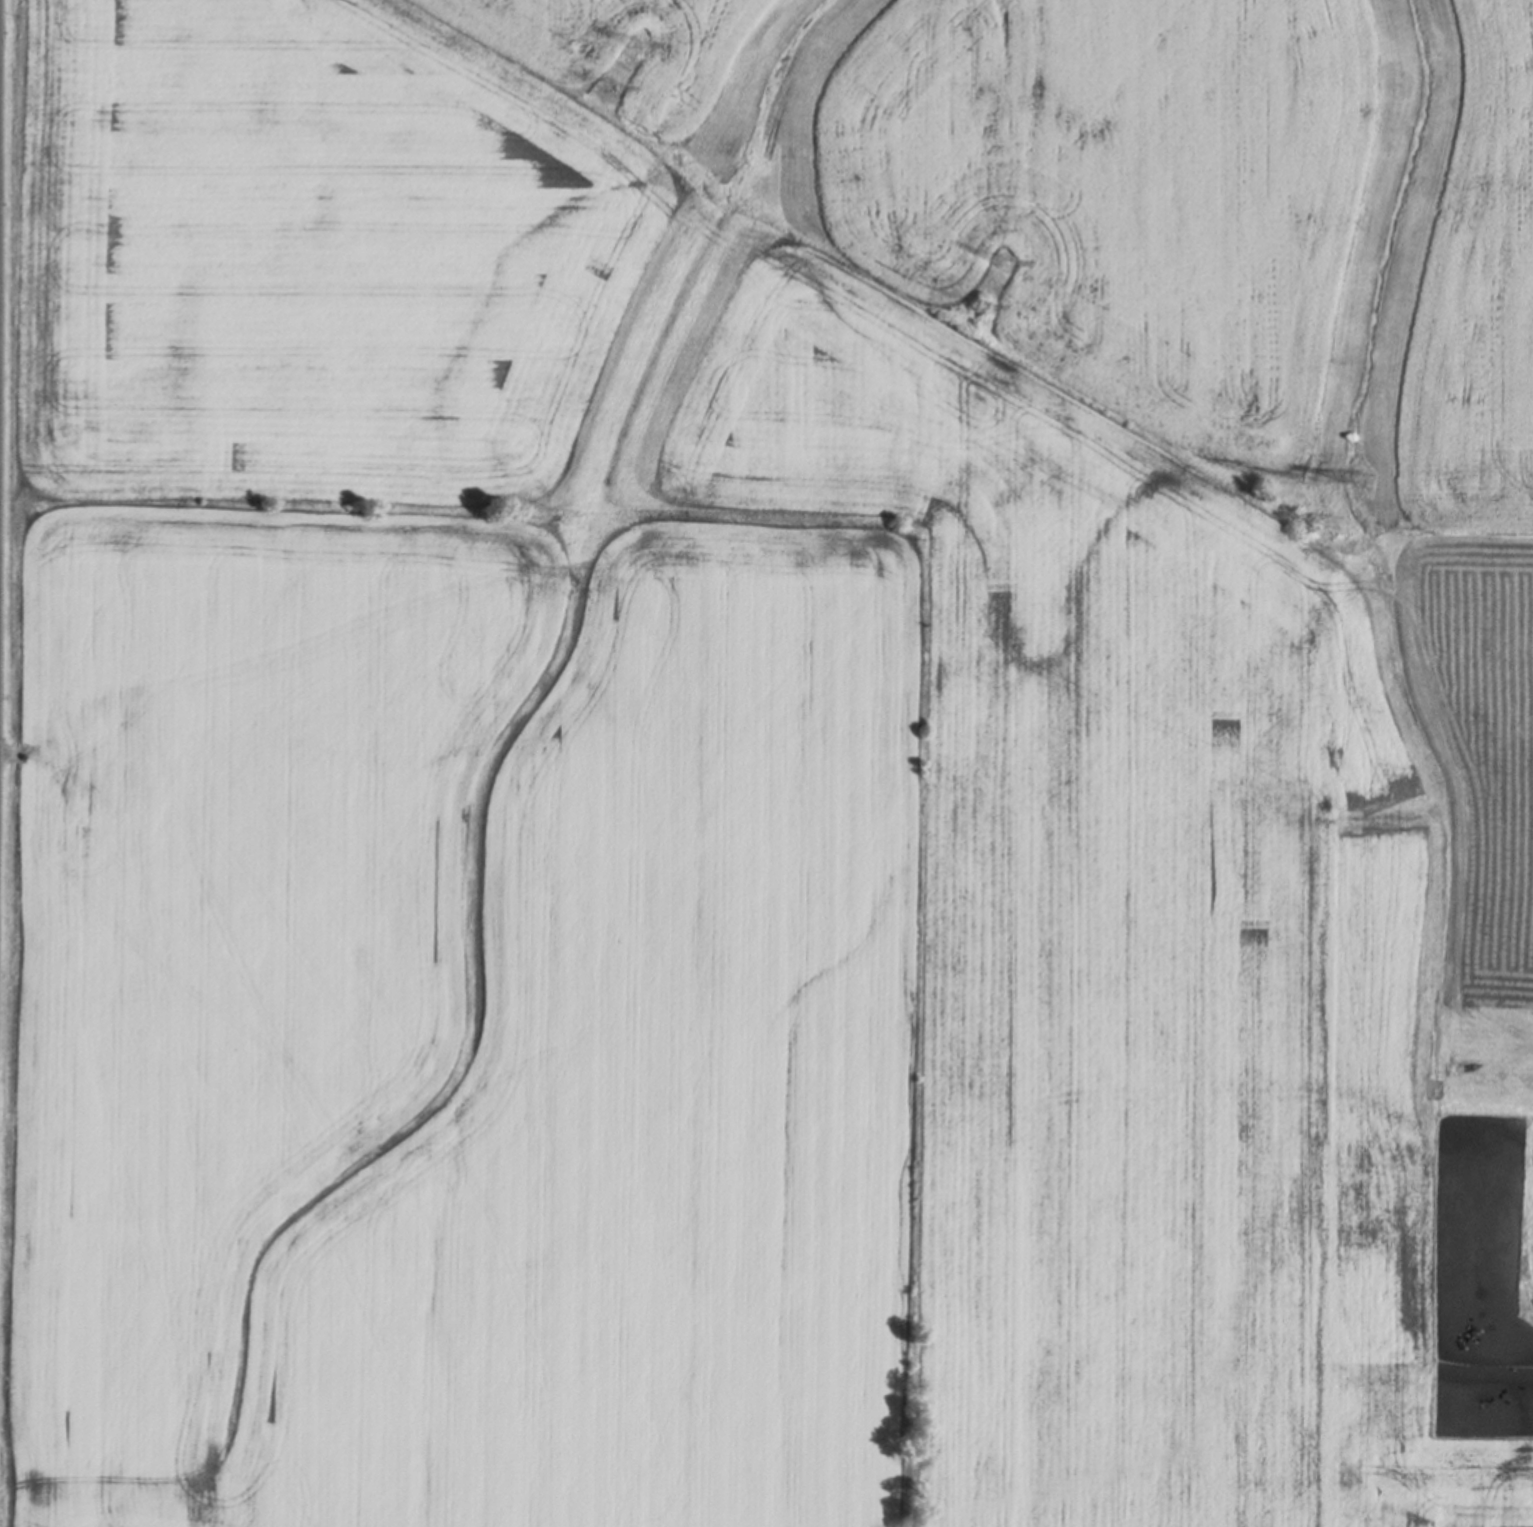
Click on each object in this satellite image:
power tower: (631, 44)
power tower: (604, 86)
power tower: (998, 262)
power tower: (973, 307)
power tower: (1366, 481)
power tower: (1336, 523)

